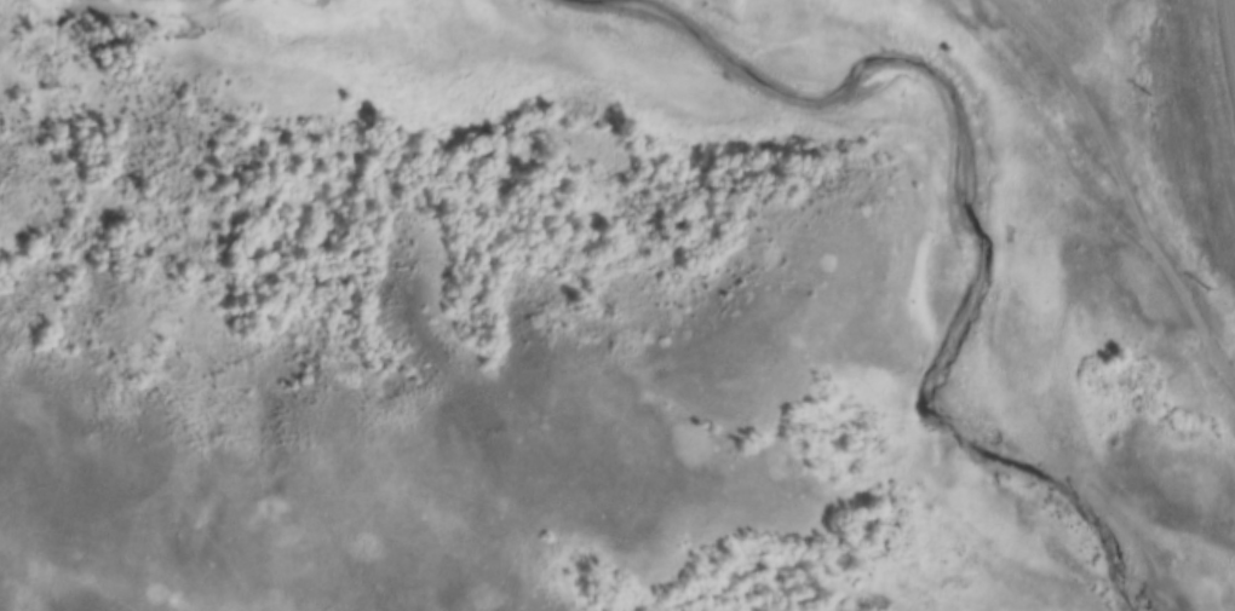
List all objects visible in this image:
road: (1233, 11)
road: (1076, 184)

